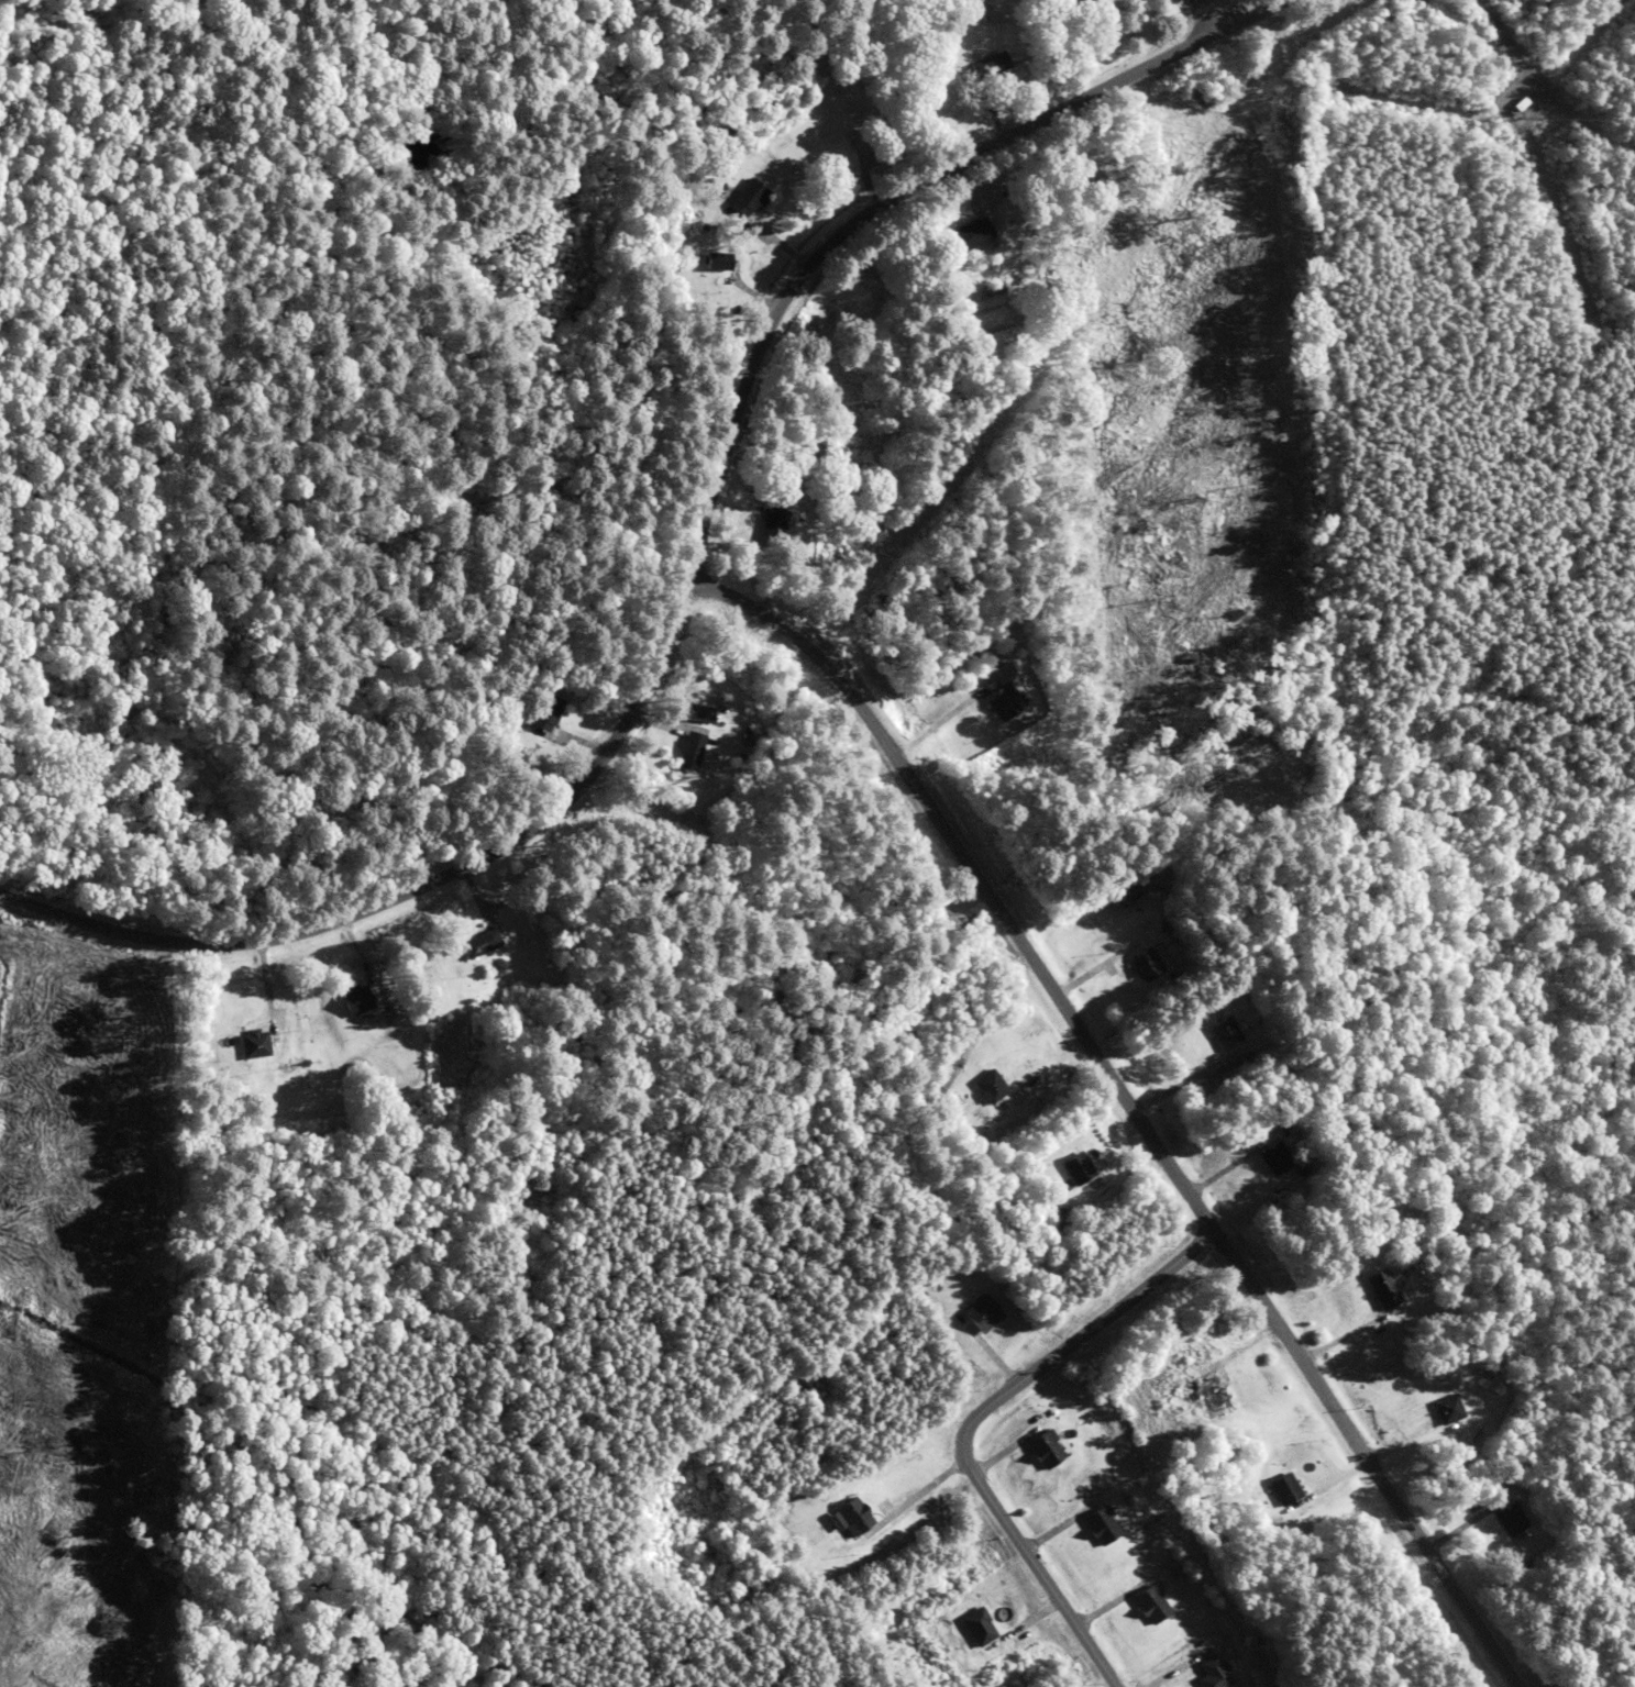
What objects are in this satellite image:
road: (1214, 10)
building: (985, 66)
building: (1212, 86)
building: (733, 144)
building: (747, 198)
building: (966, 234)
building: (711, 262)
building: (767, 525)
road: (694, 554)
building: (999, 701)
building: (542, 713)
building: (693, 713)
building: (683, 750)
building: (472, 943)
building: (1142, 964)
building: (344, 998)
building: (1220, 1032)
building: (242, 1042)
building: (984, 1086)
road: (1134, 1090)
building: (1269, 1157)
building: (1071, 1167)
building: (1369, 1287)
building: (976, 1313)
building: (1201, 1395)
building: (1437, 1409)
building: (1046, 1449)
building: (1280, 1488)
building: (858, 1516)
building: (1505, 1519)
building: (1102, 1525)
building: (1150, 1603)
building: (983, 1627)
building: (1209, 1673)

